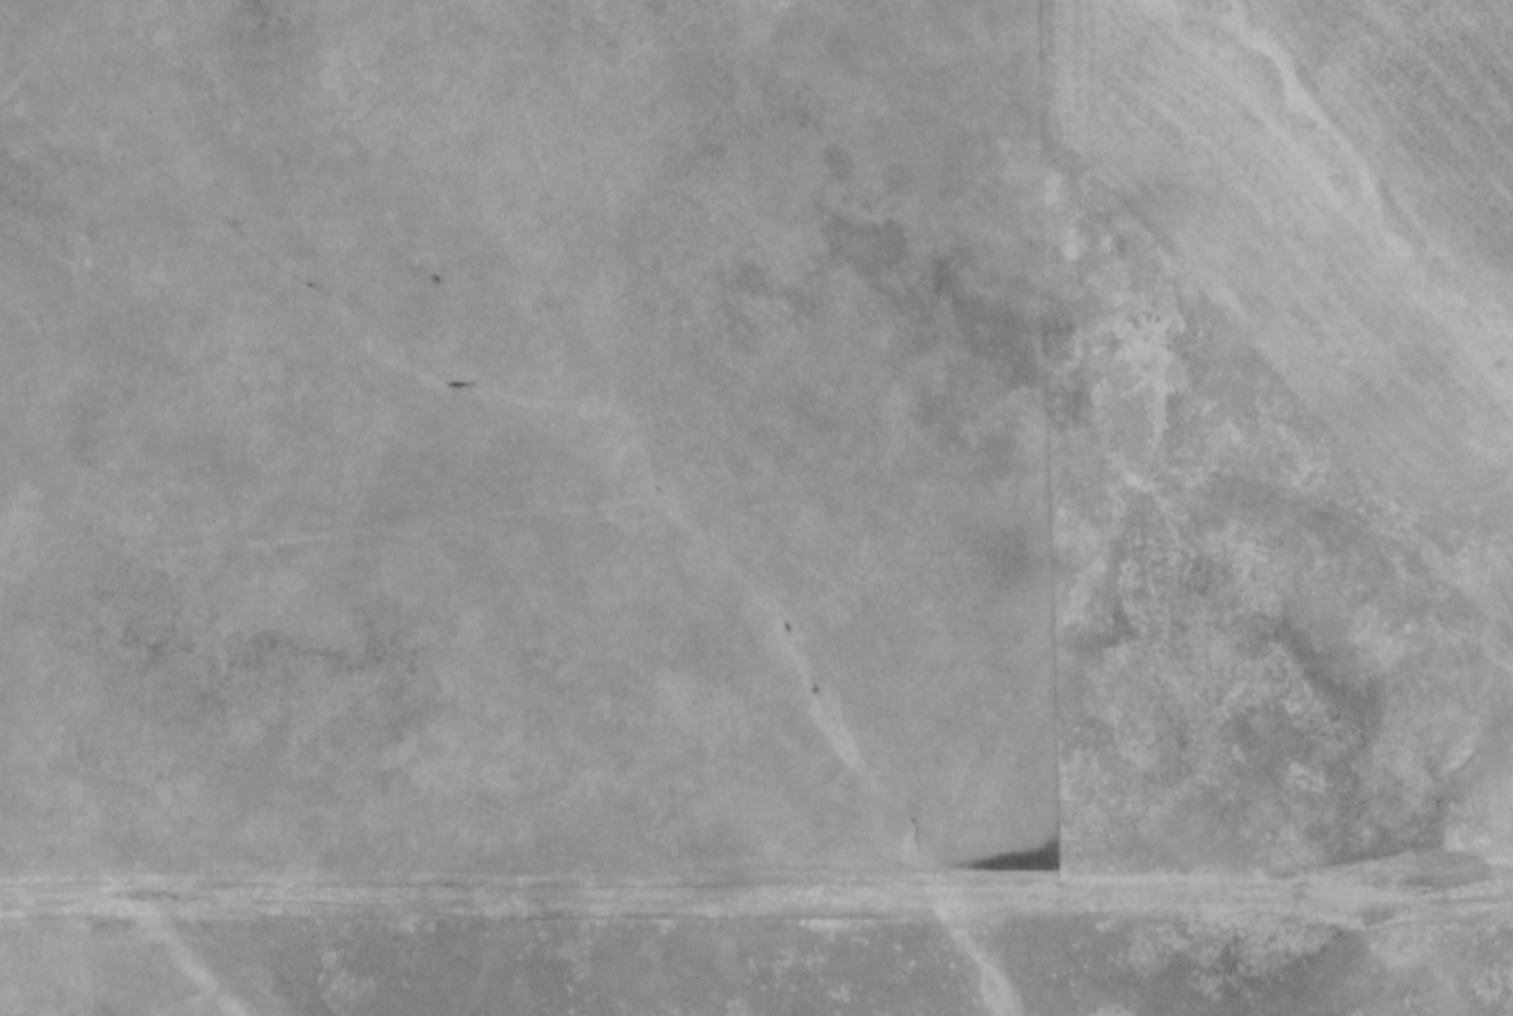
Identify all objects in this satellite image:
road: (756, 888)

